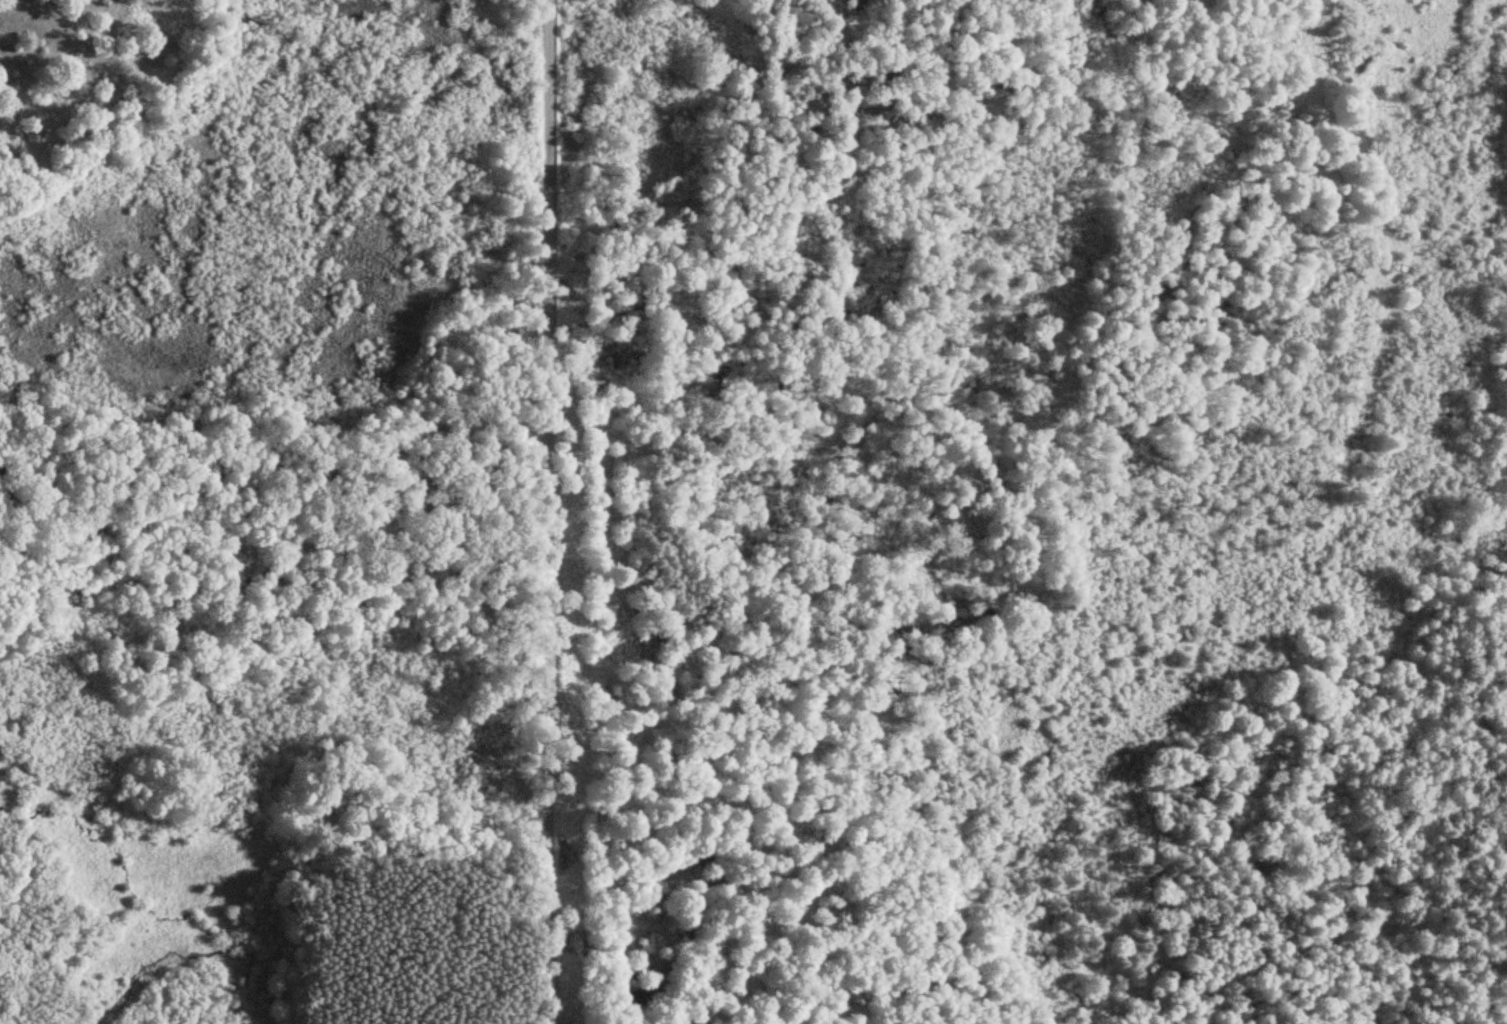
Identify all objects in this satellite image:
road: (566, 512)

